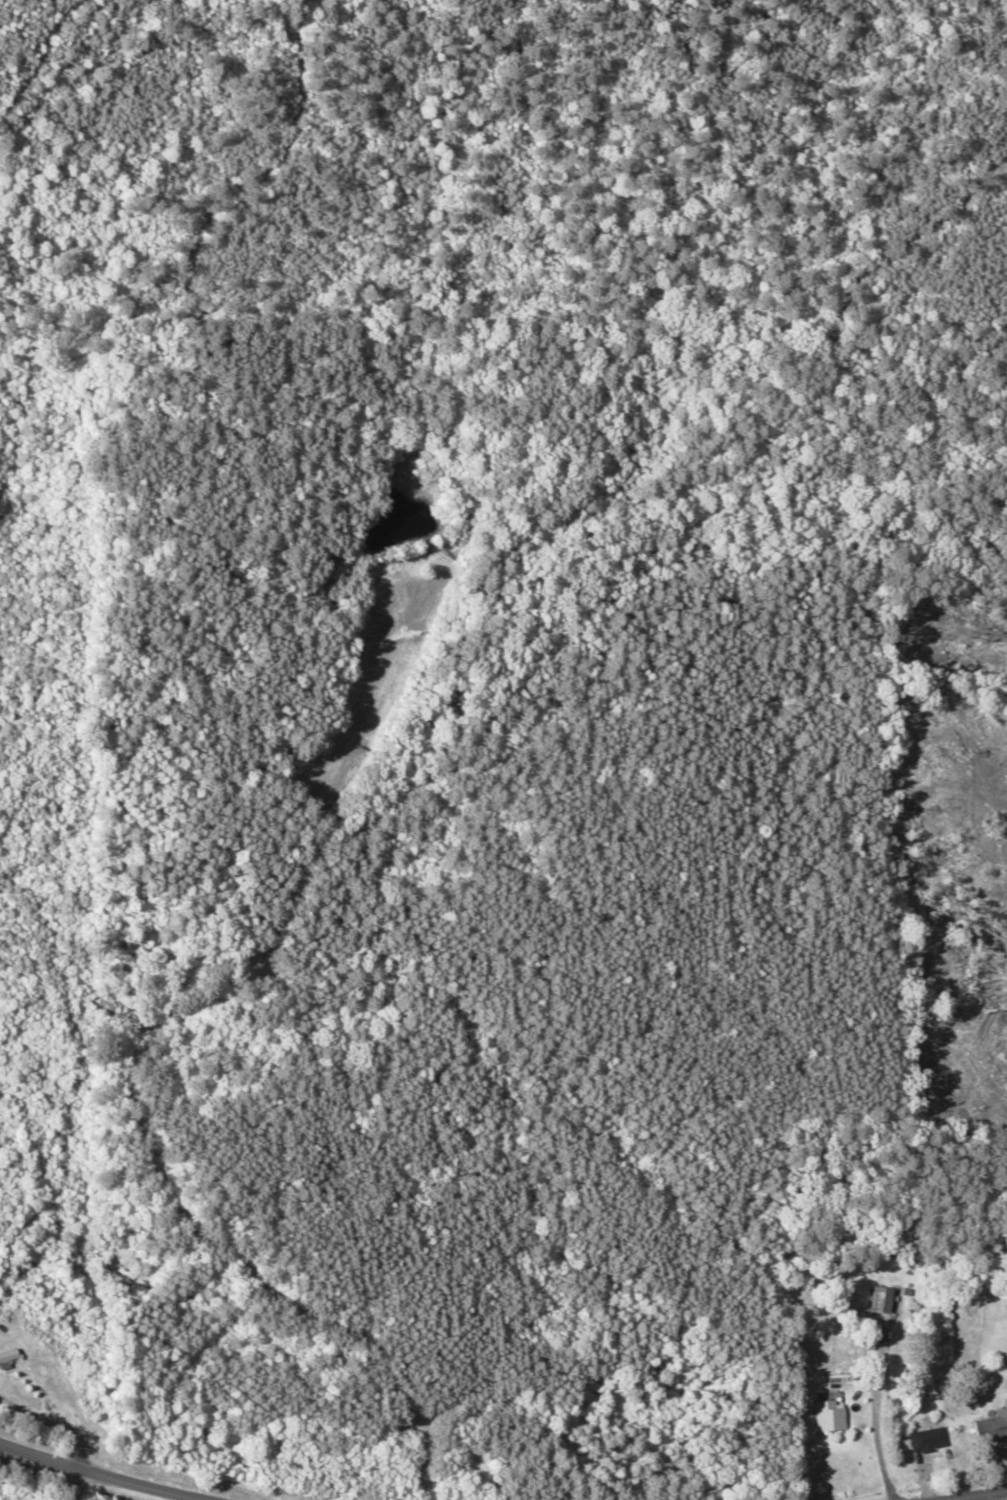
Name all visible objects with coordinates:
building: (880, 1299)
building: (827, 1412)
building: (991, 1427)
building: (928, 1438)
road: (104, 1473)
road: (980, 1495)

